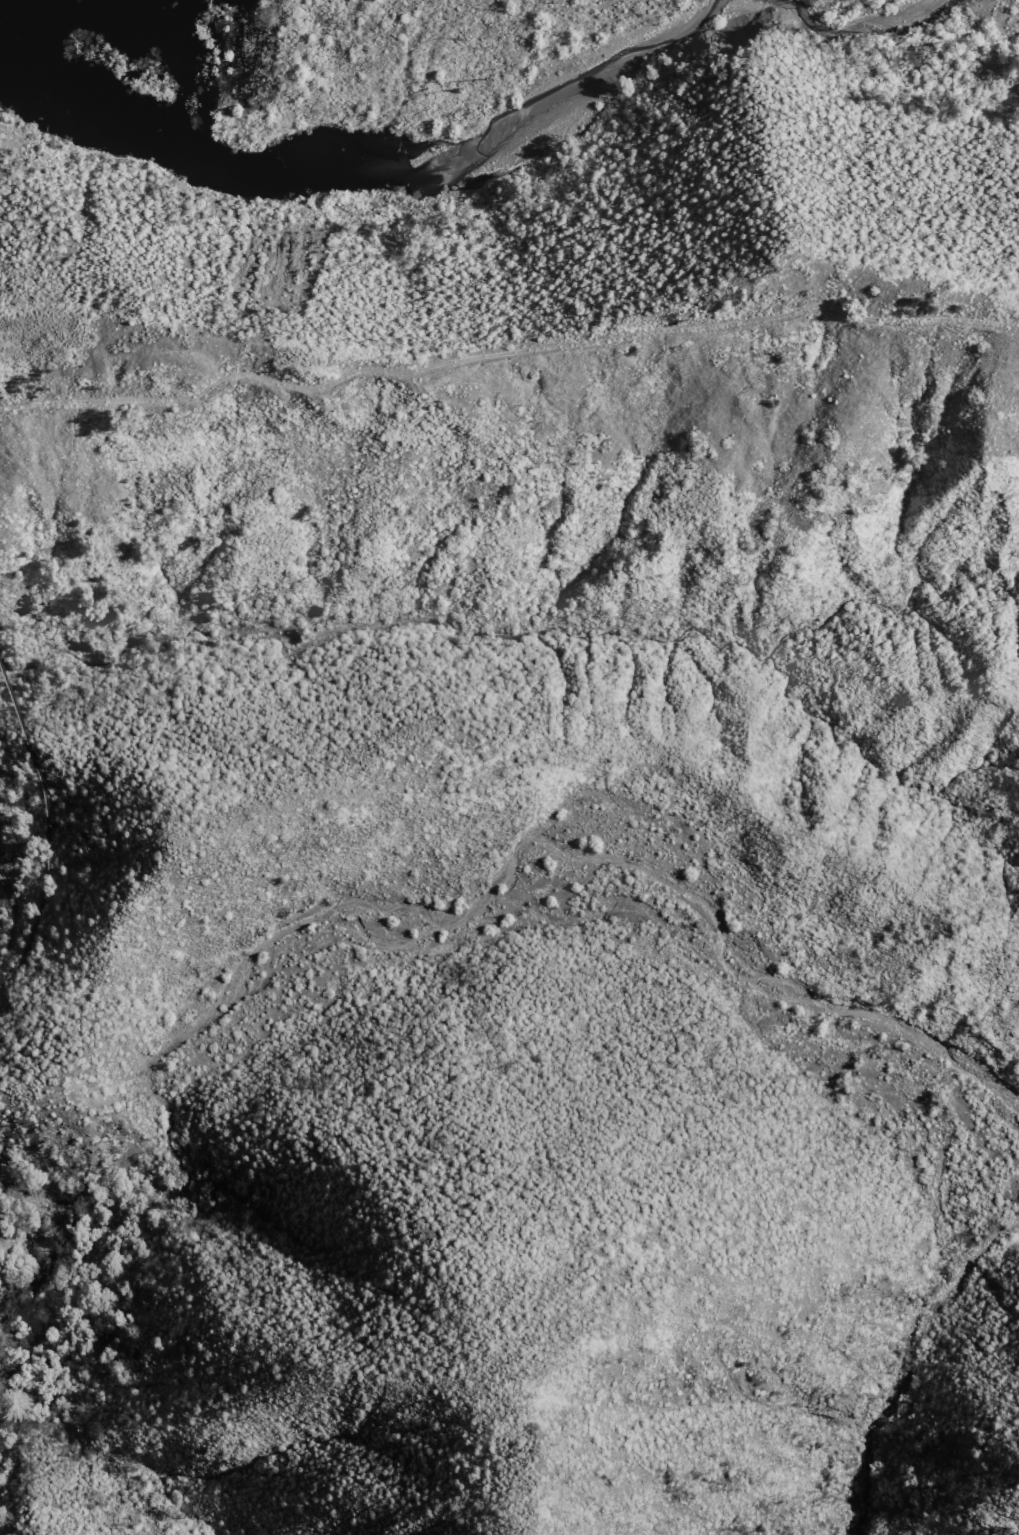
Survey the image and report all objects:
river: (864, 27)
river: (124, 95)
road: (10, 128)
river: (498, 132)
road: (505, 350)
road: (53, 1253)

